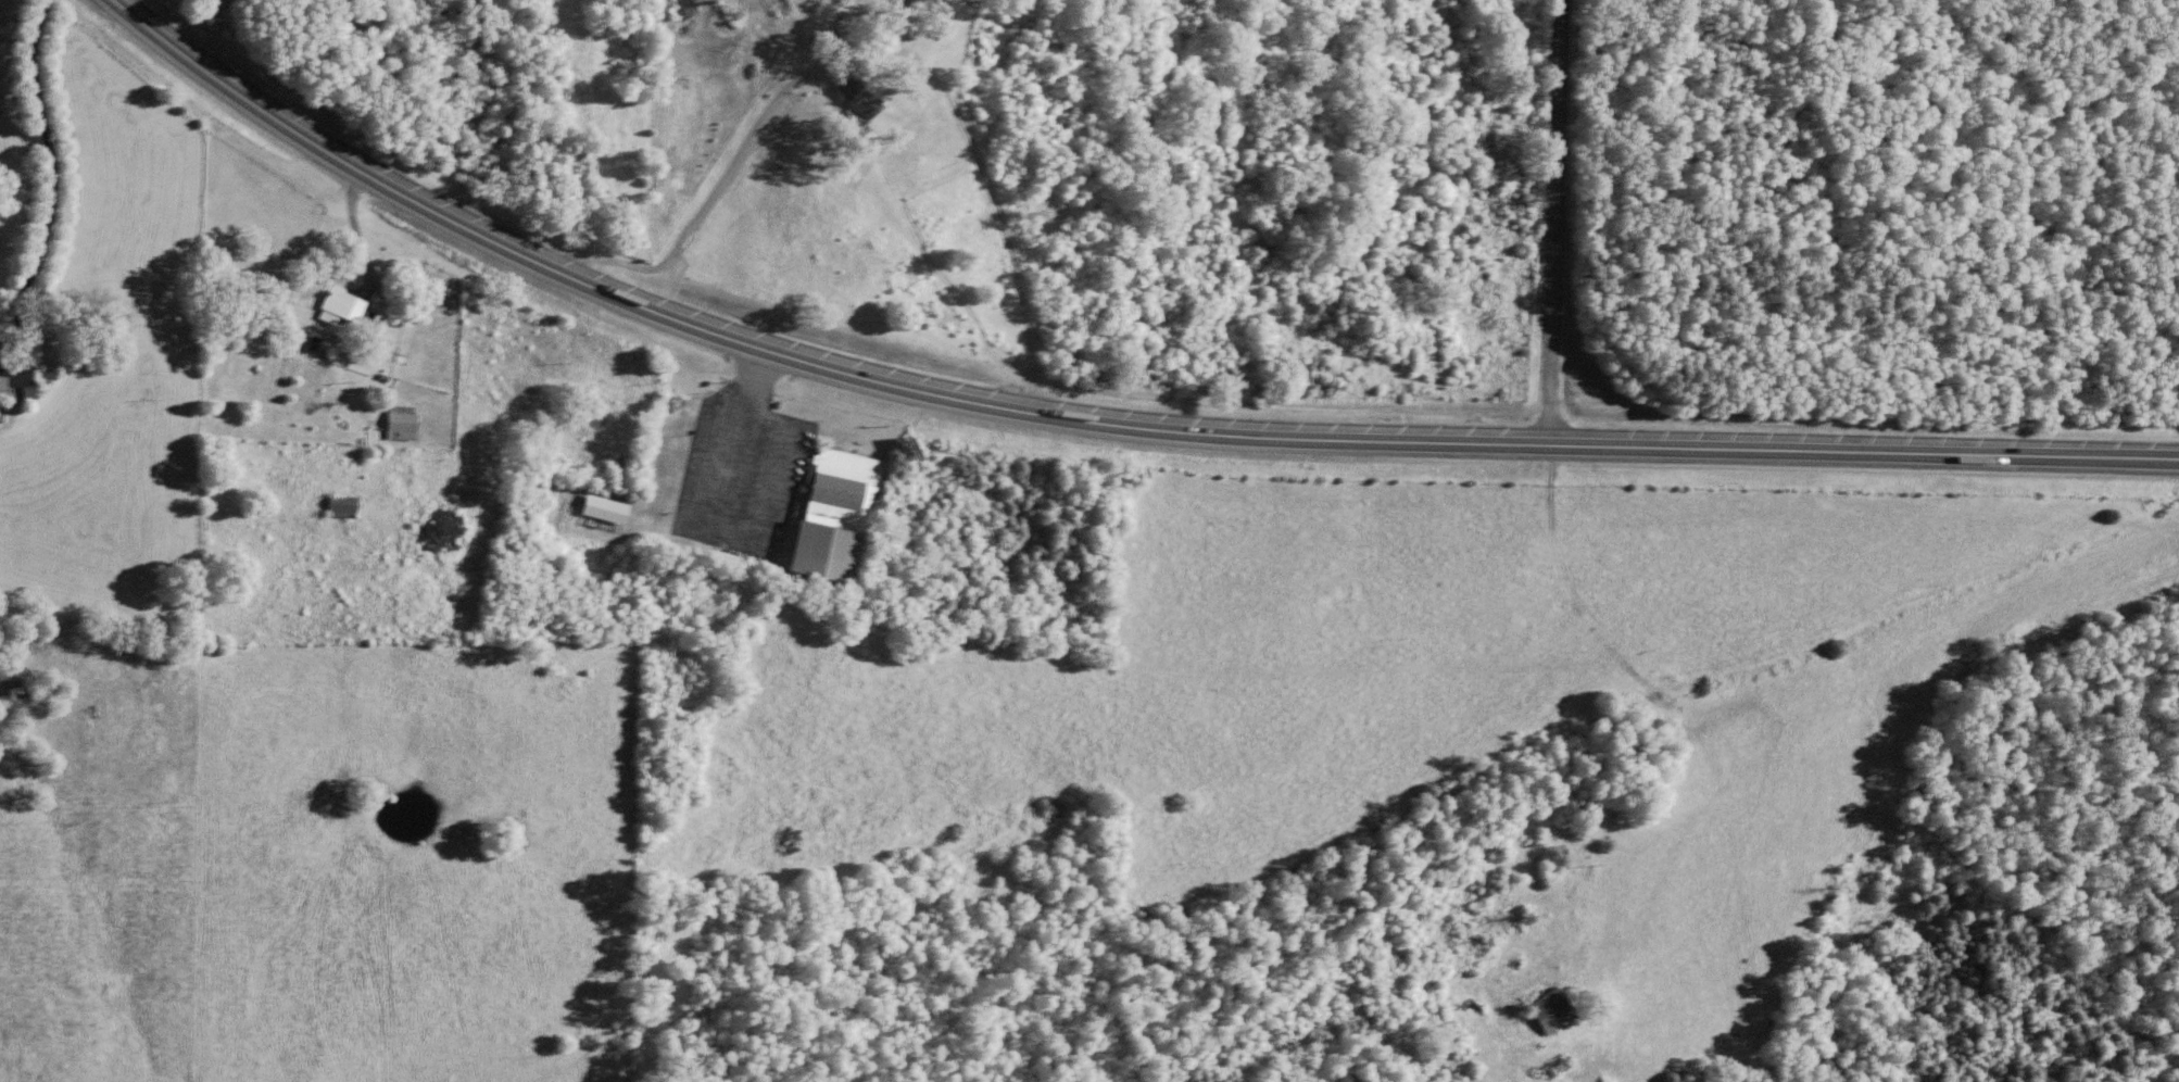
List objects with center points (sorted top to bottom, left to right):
building: (866, 106)
road: (1551, 219)
building: (341, 311)
road: (1100, 417)
building: (401, 427)
building: (342, 512)
building: (859, 521)
road: (1021, 524)
building: (1552, 1015)

